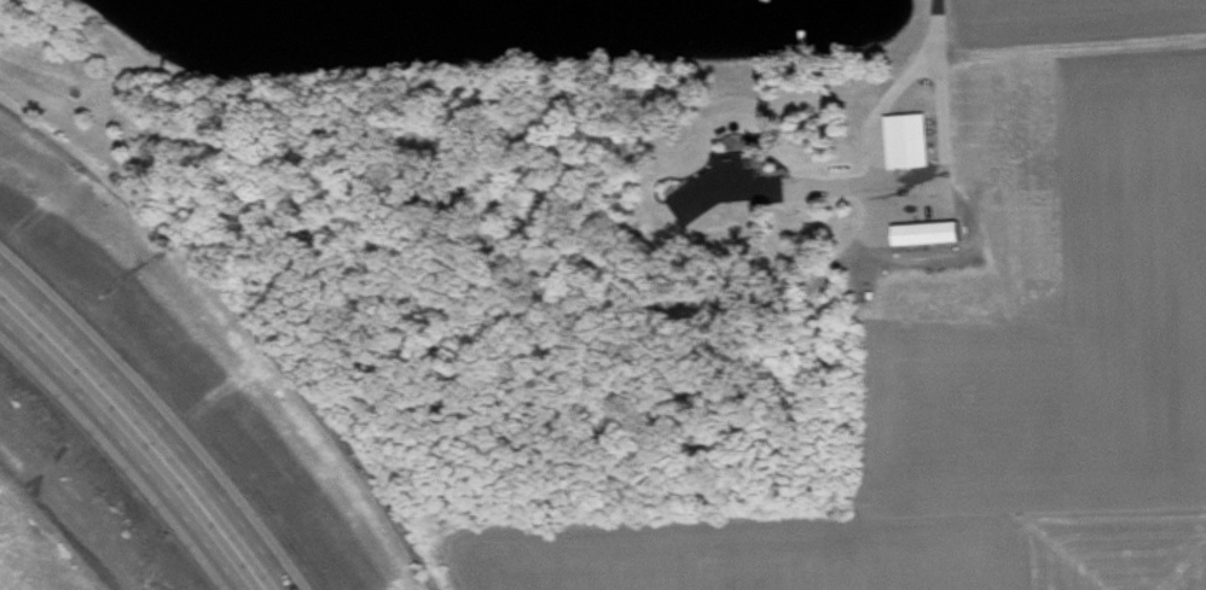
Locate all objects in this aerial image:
road: (879, 109)
building: (915, 146)
road: (940, 154)
building: (734, 193)
building: (934, 239)
road: (155, 416)
road: (134, 440)

